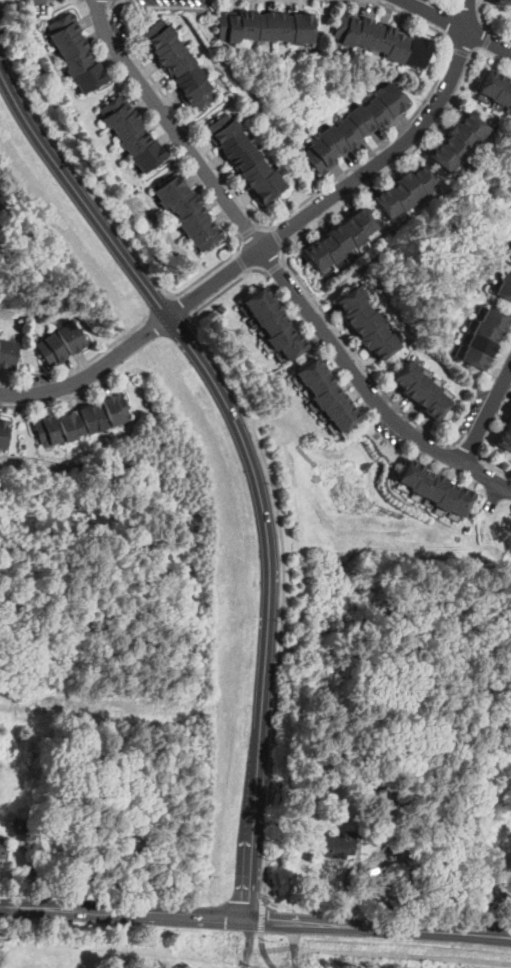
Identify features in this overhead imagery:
street lamp: (339, 2)
building: (504, 2)
street lamp: (110, 7)
road: (174, 8)
road: (437, 14)
road: (466, 14)
road: (482, 16)
street lamp: (490, 22)
building: (63, 25)
building: (228, 25)
building: (246, 25)
building: (266, 26)
building: (285, 26)
building: (304, 26)
building: (382, 38)
road: (488, 40)
road: (488, 40)
building: (72, 42)
road: (459, 51)
building: (81, 59)
building: (179, 63)
building: (90, 76)
building: (490, 82)
building: (502, 90)
street lamp: (30, 91)
building: (392, 98)
street lamp: (422, 99)
building: (509, 101)
building: (115, 108)
building: (378, 111)
building: (362, 119)
building: (127, 124)
building: (473, 124)
building: (349, 132)
building: (464, 135)
building: (138, 140)
building: (333, 140)
building: (455, 146)
building: (320, 155)
building: (150, 156)
building: (247, 156)
building: (444, 157)
street lamp: (182, 159)
road: (79, 168)
building: (424, 178)
street lamp: (381, 180)
building: (410, 185)
building: (173, 189)
road: (339, 189)
building: (400, 196)
building: (186, 202)
building: (386, 202)
road: (294, 209)
street lamp: (120, 218)
building: (195, 218)
building: (363, 220)
street lamp: (271, 222)
road: (250, 230)
building: (352, 231)
building: (206, 234)
road: (278, 236)
building: (340, 238)
road: (292, 239)
building: (330, 248)
building: (316, 254)
road: (242, 261)
building: (509, 262)
road: (276, 267)
road: (211, 269)
road: (277, 269)
building: (506, 274)
road: (226, 288)
building: (504, 288)
road: (172, 294)
street lamp: (315, 296)
building: (351, 298)
building: (258, 300)
road: (160, 307)
road: (179, 307)
building: (267, 312)
building: (358, 312)
street lamp: (199, 314)
building: (496, 318)
building: (274, 323)
building: (367, 323)
building: (486, 330)
building: (373, 335)
building: (74, 336)
building: (281, 336)
street lamp: (107, 342)
street lamp: (210, 342)
building: (481, 344)
building: (293, 345)
building: (385, 345)
building: (52, 349)
building: (8, 353)
building: (475, 357)
road: (500, 361)
road: (81, 365)
road: (207, 367)
street lamp: (38, 369)
building: (310, 370)
road: (92, 372)
building: (406, 373)
building: (319, 382)
building: (416, 384)
building: (427, 393)
building: (325, 395)
road: (59, 399)
building: (437, 404)
building: (335, 405)
building: (115, 408)
street lamp: (14, 409)
road: (485, 414)
building: (93, 416)
building: (510, 416)
building: (344, 417)
building: (70, 424)
building: (508, 427)
building: (47, 429)
building: (3, 431)
street lamp: (380, 437)
building: (504, 440)
road: (466, 451)
road: (496, 467)
building: (409, 471)
building: (420, 480)
street lamp: (276, 484)
building: (433, 486)
building: (445, 495)
building: (460, 500)
street lamp: (500, 503)
road: (279, 608)
street lamp: (285, 622)
street lamp: (276, 744)
building: (335, 773)
road: (254, 819)
building: (338, 846)
building: (2, 850)
building: (419, 850)
street lamp: (270, 859)
road: (61, 909)
road: (185, 916)
traffic signals: (248, 919)
road: (358, 926)
road: (490, 936)
road: (248, 943)
road: (294, 944)
road: (262, 945)
road: (386, 954)
building: (427, 964)

